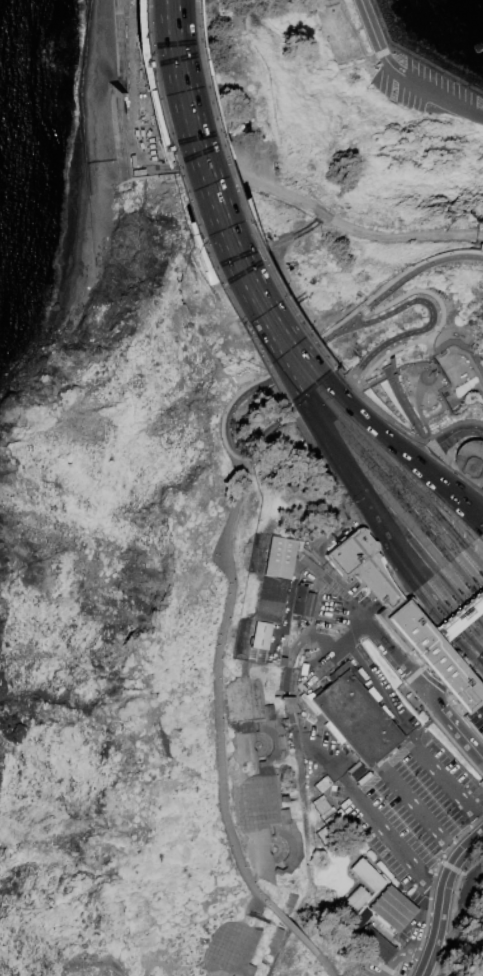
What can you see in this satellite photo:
building: (323, 0)
building: (325, 0)
road: (329, 3)
road: (357, 29)
road: (372, 32)
road: (383, 52)
road: (414, 59)
road: (356, 63)
road: (412, 81)
parking lot: (425, 89)
road: (460, 108)
road: (225, 196)
road: (211, 200)
road: (192, 208)
road: (177, 213)
road: (343, 225)
road: (479, 234)
road: (481, 247)
road: (479, 254)
road: (418, 268)
road: (363, 308)
road: (355, 318)
road: (431, 321)
road: (439, 325)
road: (429, 344)
road: (435, 350)
road: (469, 359)
road: (415, 365)
road: (428, 368)
road: (387, 370)
road: (340, 374)
flagpole: (426, 376)
road: (266, 382)
road: (351, 387)
road: (405, 412)
road: (363, 418)
road: (393, 421)
road: (451, 425)
road: (330, 429)
road: (270, 430)
road: (457, 432)
road: (422, 450)
building: (468, 458)
road: (452, 465)
road: (397, 475)
road: (438, 481)
road: (396, 484)
road: (482, 484)
building: (290, 489)
road: (394, 494)
road: (341, 505)
road: (475, 511)
park: (252, 512)
road: (401, 515)
road: (474, 515)
road: (369, 522)
road: (392, 529)
road: (421, 553)
road: (414, 572)
road: (462, 588)
building: (270, 597)
toll booth: (482, 597)
road: (289, 599)
toll booth: (475, 603)
building: (311, 604)
toll booth: (468, 609)
toll booth: (461, 615)
building: (459, 616)
building: (403, 619)
toll booth: (454, 621)
road: (369, 623)
toll booth: (445, 628)
road: (457, 650)
road: (469, 654)
road: (469, 656)
road: (360, 671)
road: (413, 674)
road: (423, 678)
road: (217, 683)
road: (420, 683)
road: (430, 685)
building: (356, 715)
parking lot: (477, 717)
road: (454, 724)
road: (443, 729)
building: (387, 757)
road: (440, 775)
building: (260, 780)
building: (291, 782)
building: (324, 784)
parking lot: (398, 787)
road: (403, 793)
building: (319, 800)
building: (323, 806)
building: (328, 813)
road: (369, 814)
building: (330, 819)
road: (481, 820)
building: (329, 828)
road: (453, 851)
road: (450, 867)
building: (367, 874)
road: (431, 888)
road: (434, 890)
road: (454, 896)
road: (440, 897)
road: (463, 899)
road: (251, 902)
building: (353, 903)
building: (288, 904)
building: (394, 908)
road: (293, 930)
building: (274, 941)
building: (377, 944)
parking lot: (406, 946)
road: (445, 948)
building: (230, 949)
road: (254, 953)
road: (414, 957)
road: (374, 961)
road: (390, 963)
road: (326, 964)
road: (336, 975)

